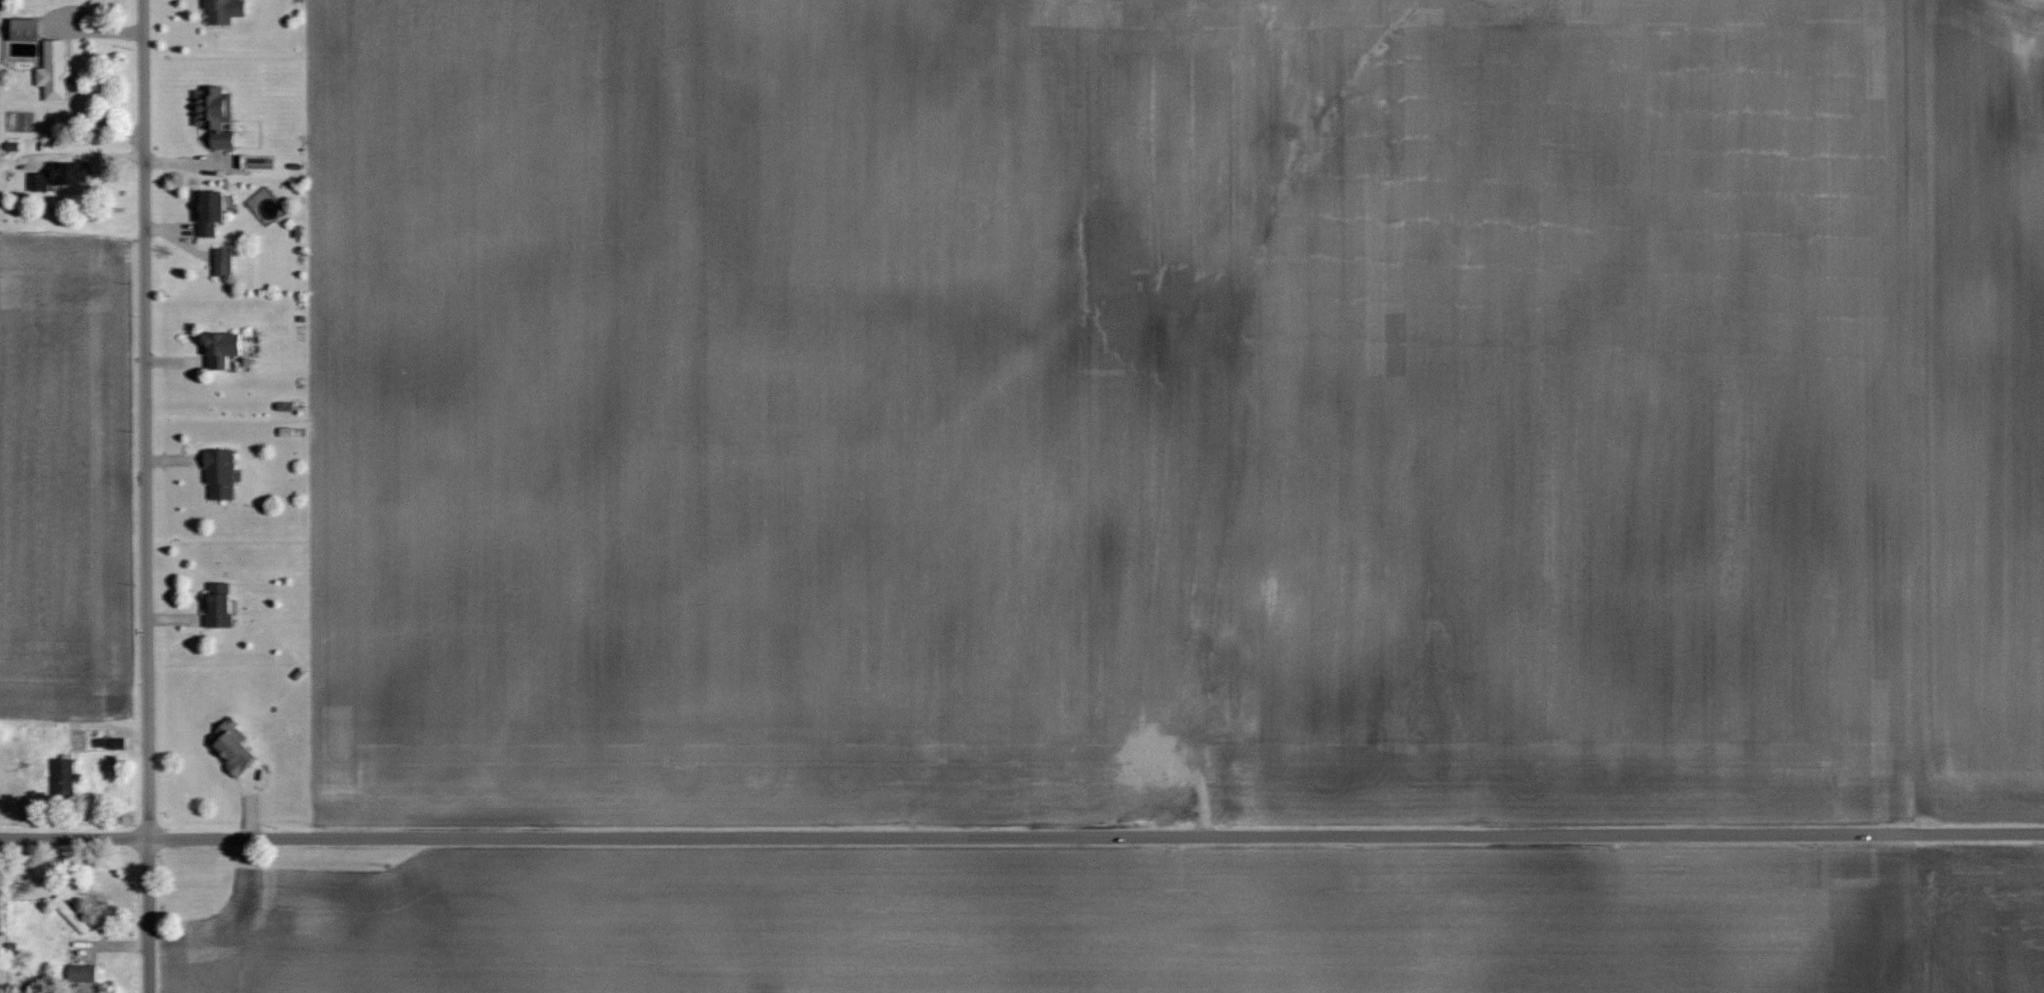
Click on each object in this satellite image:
building: (222, 10)
building: (24, 30)
building: (53, 71)
building: (213, 115)
building: (259, 163)
building: (68, 174)
building: (38, 181)
building: (209, 212)
building: (222, 261)
building: (220, 349)
building: (219, 473)
road: (147, 496)
building: (218, 606)
building: (111, 742)
building: (231, 748)
building: (64, 777)
road: (1022, 837)
building: (81, 973)

